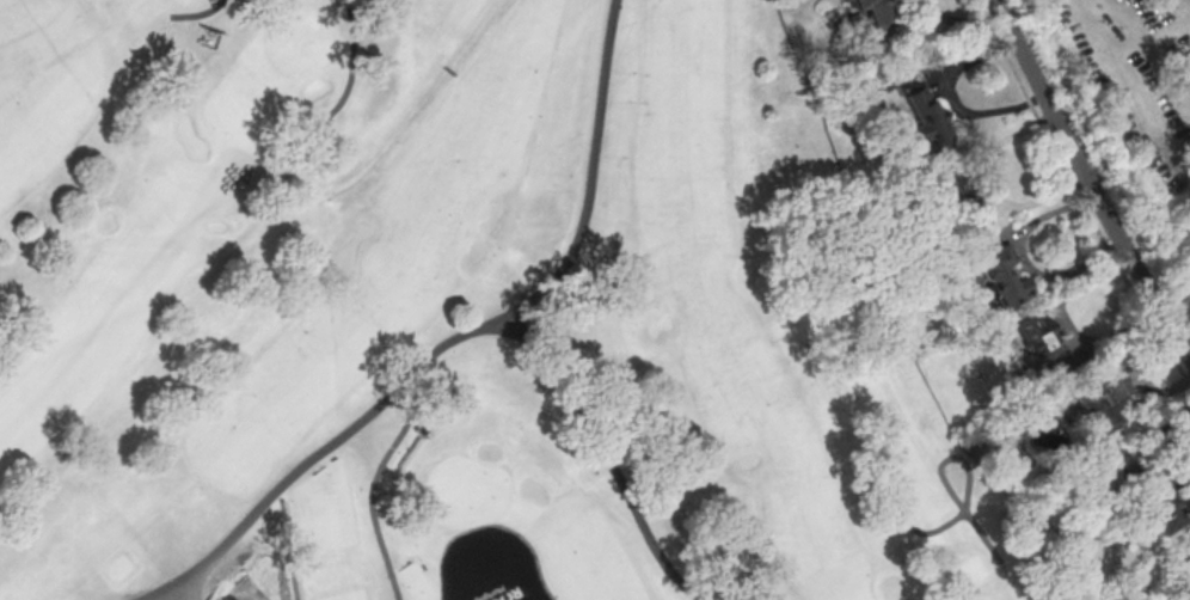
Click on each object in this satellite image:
building: (872, 17)
road: (958, 23)
park: (294, 41)
road: (952, 97)
park: (1129, 110)
building: (914, 115)
road: (1086, 182)
road: (989, 188)
building: (957, 196)
road: (1076, 196)
park: (148, 204)
road: (1023, 259)
building: (999, 274)
park: (456, 316)
road: (1061, 327)
building: (1037, 339)
road: (1137, 372)
building: (1098, 402)
park: (467, 491)
building: (1173, 516)
park: (859, 598)

